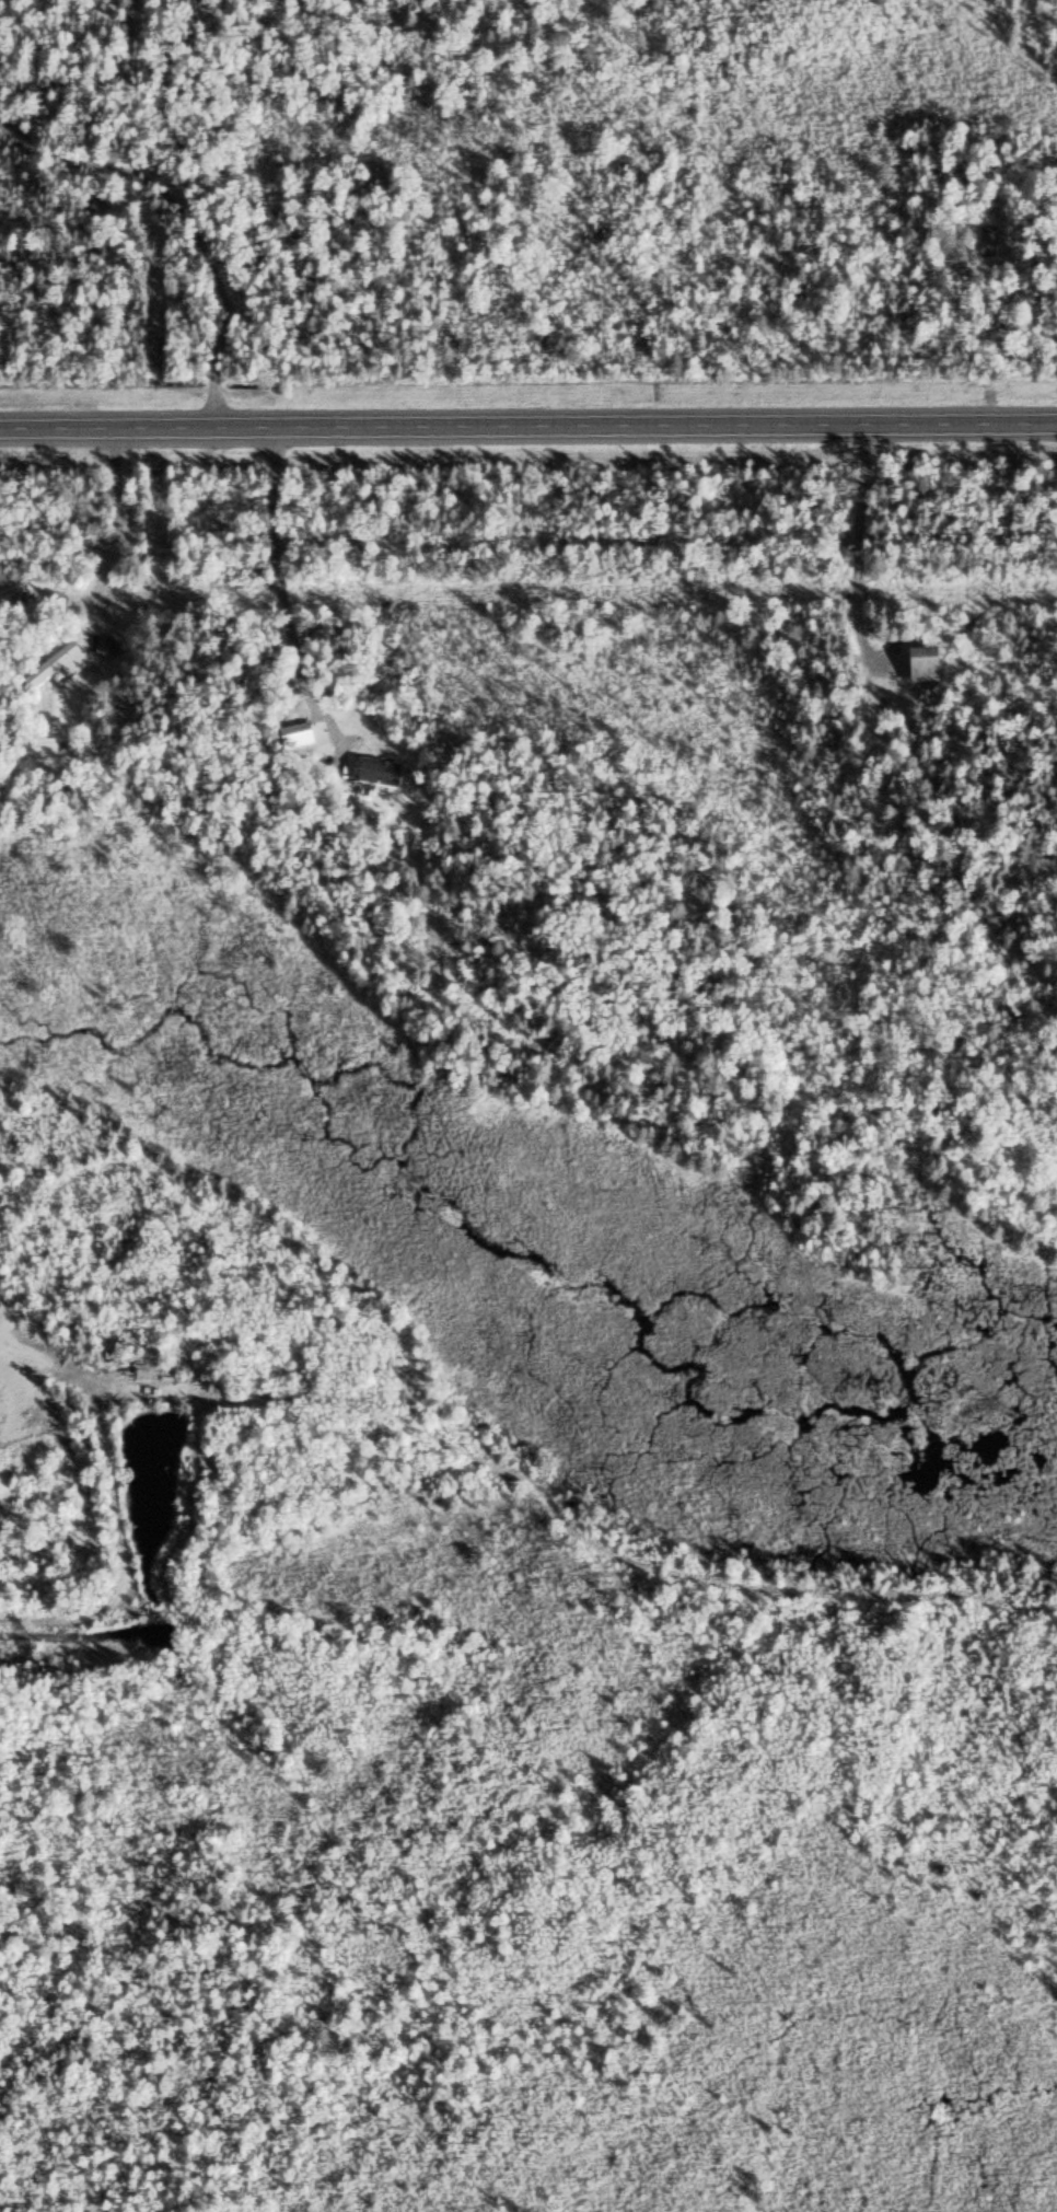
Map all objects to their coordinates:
building: (97, 210)
building: (986, 240)
road: (528, 420)
building: (54, 665)
building: (922, 665)
building: (350, 732)
building: (376, 775)

